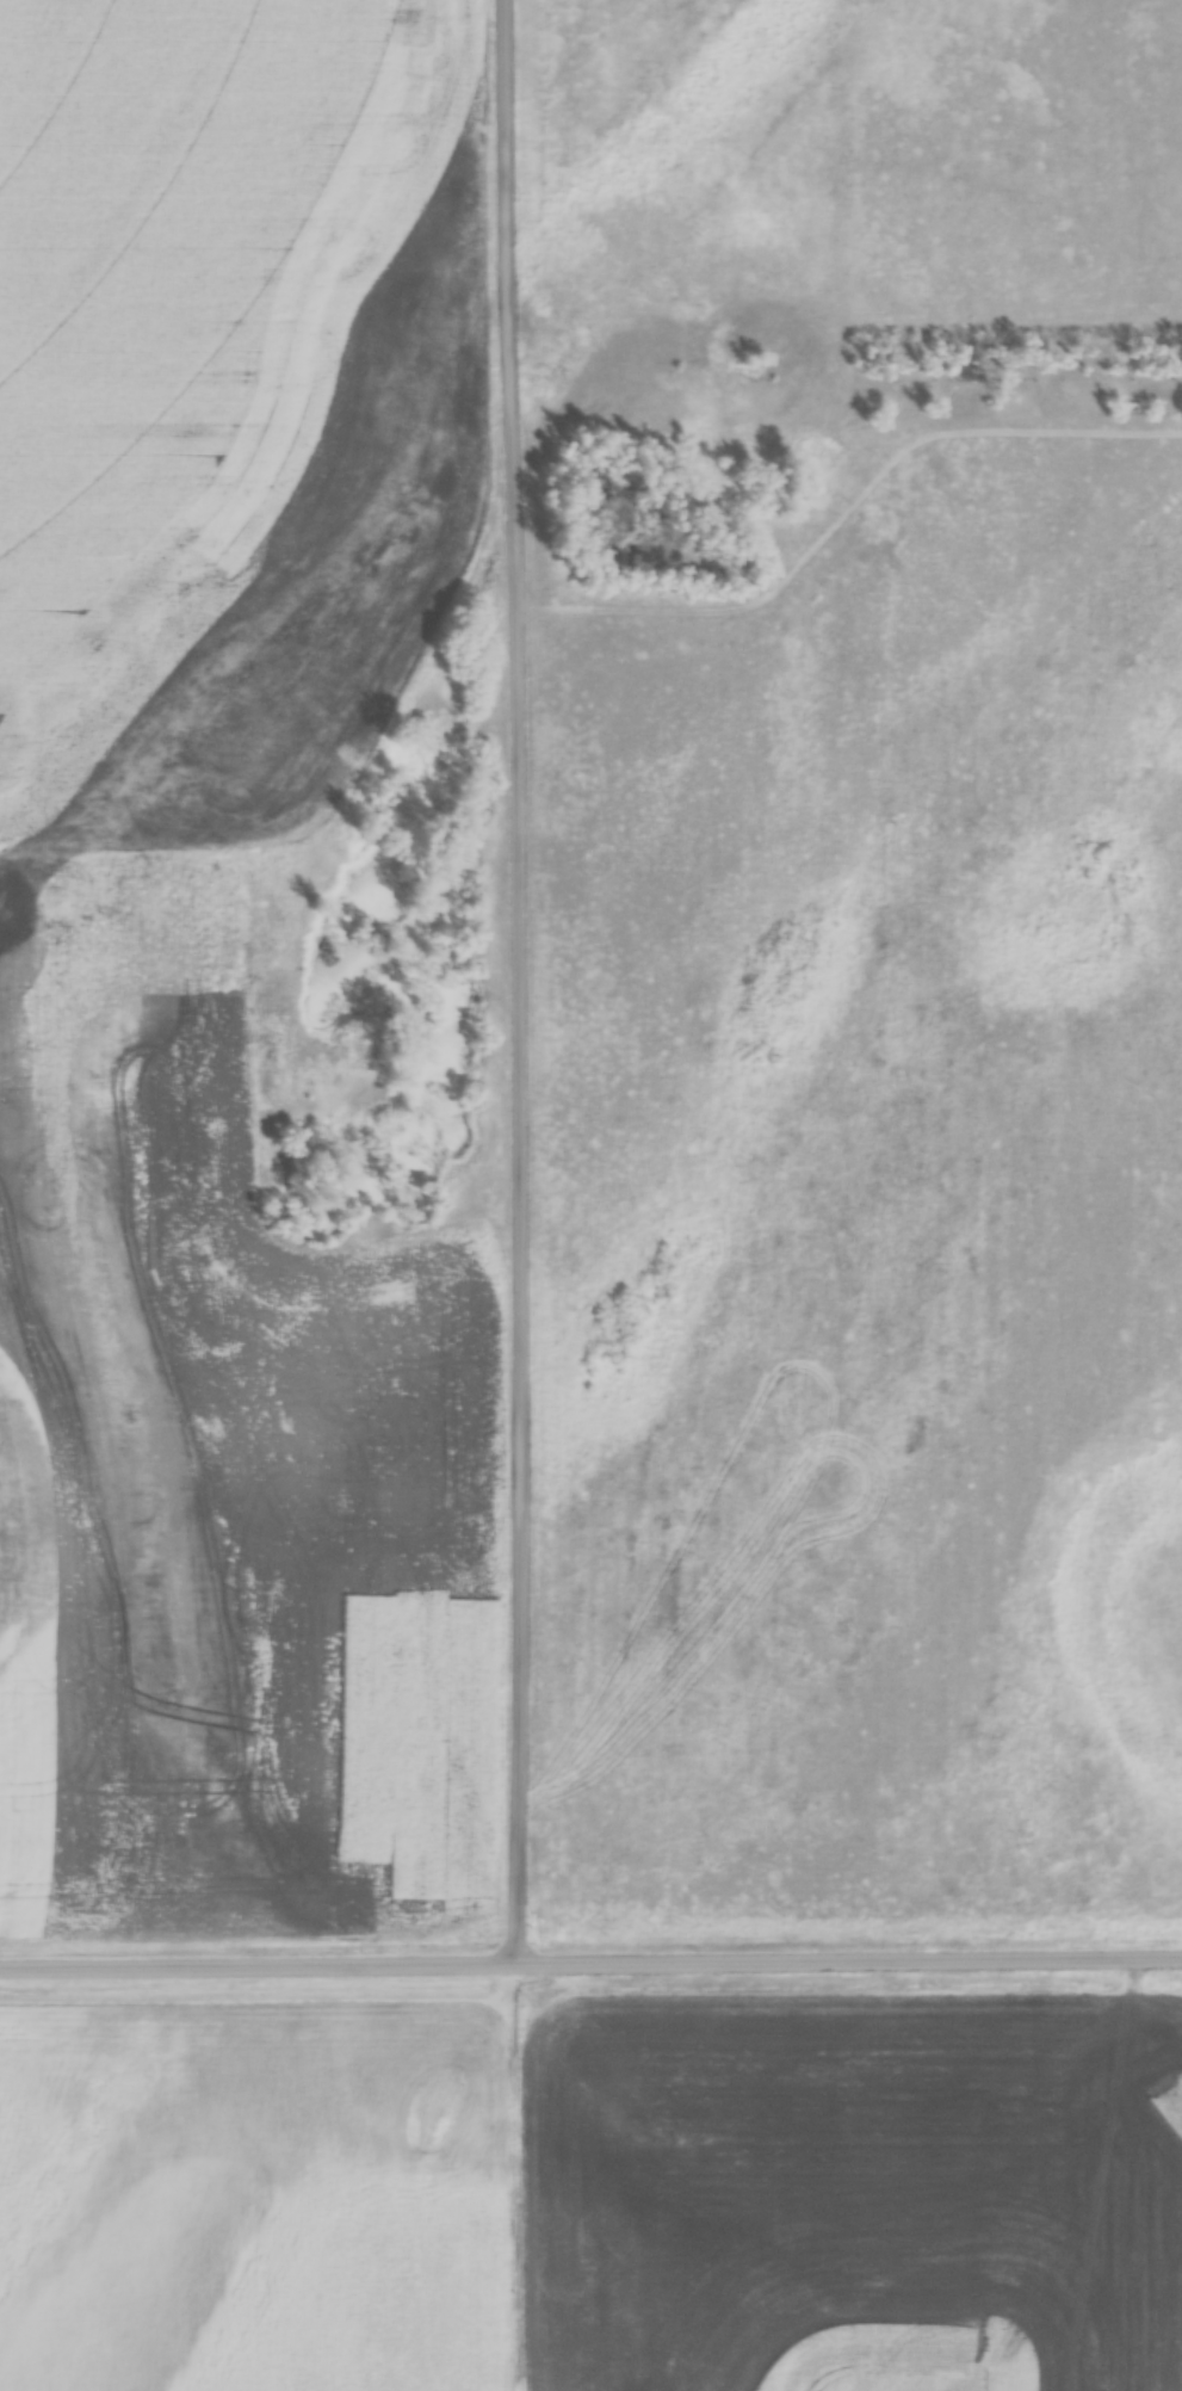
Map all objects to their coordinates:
road: (528, 980)
road: (590, 1960)

